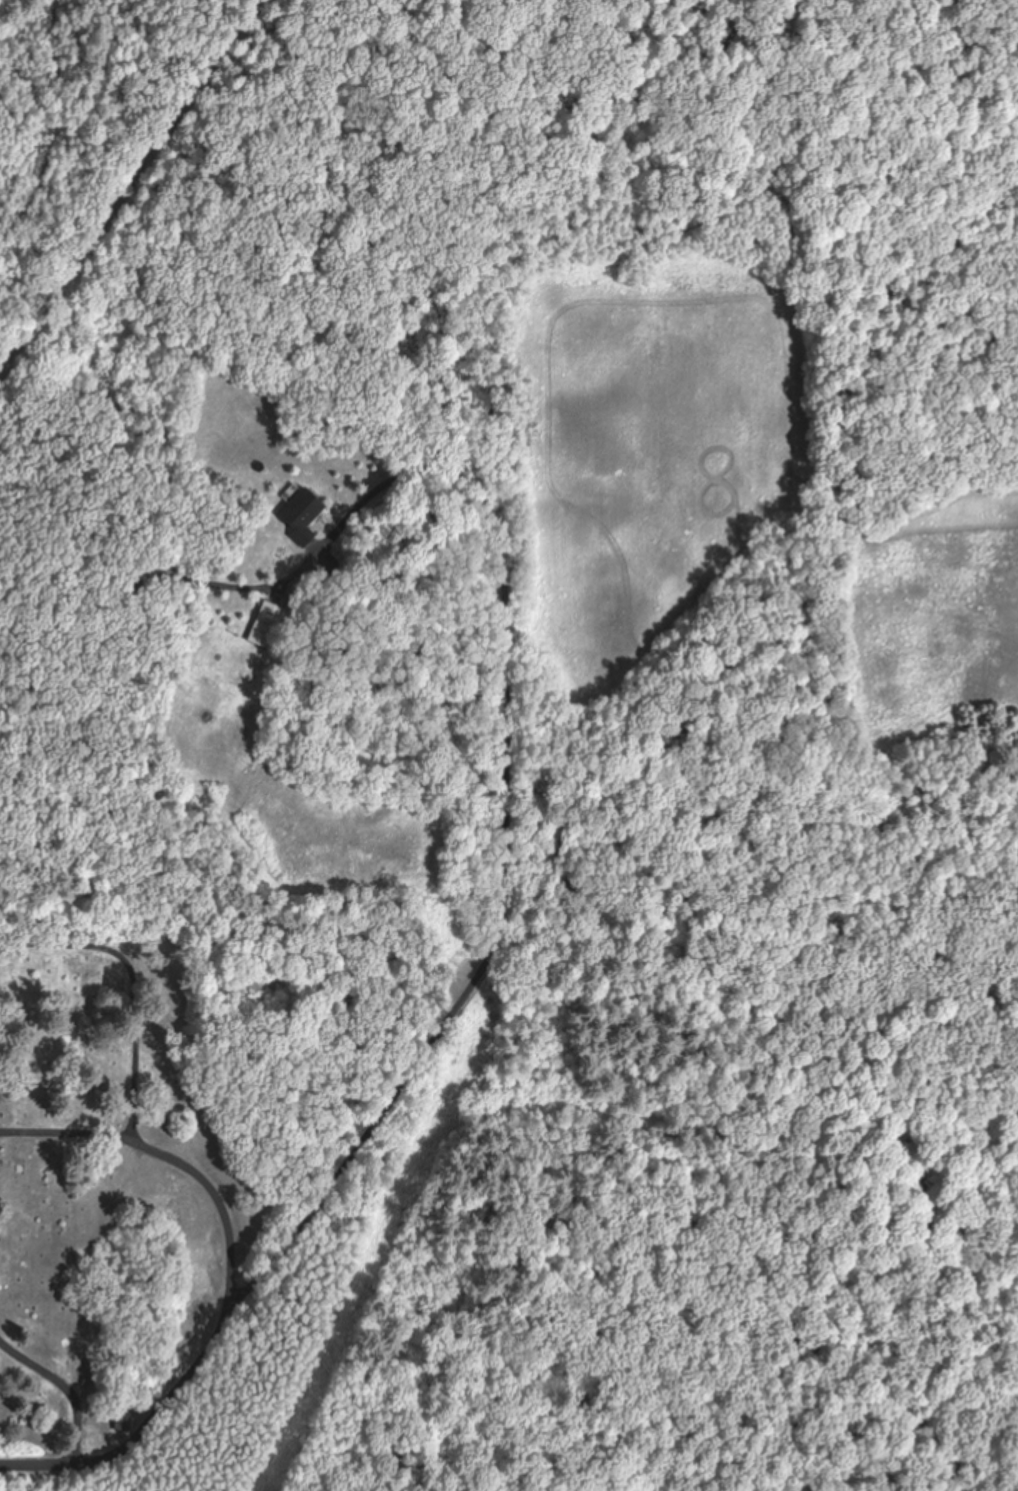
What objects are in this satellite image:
road: (264, 1)
road: (62, 117)
road: (79, 150)
road: (129, 189)
road: (285, 212)
road: (378, 217)
road: (29, 354)
road: (27, 367)
road: (23, 410)
crop: (650, 448)
building: (297, 515)
road: (26, 525)
building: (263, 626)
road: (16, 728)
road: (173, 879)
park: (198, 1155)
road: (217, 1340)
building: (121, 1420)

